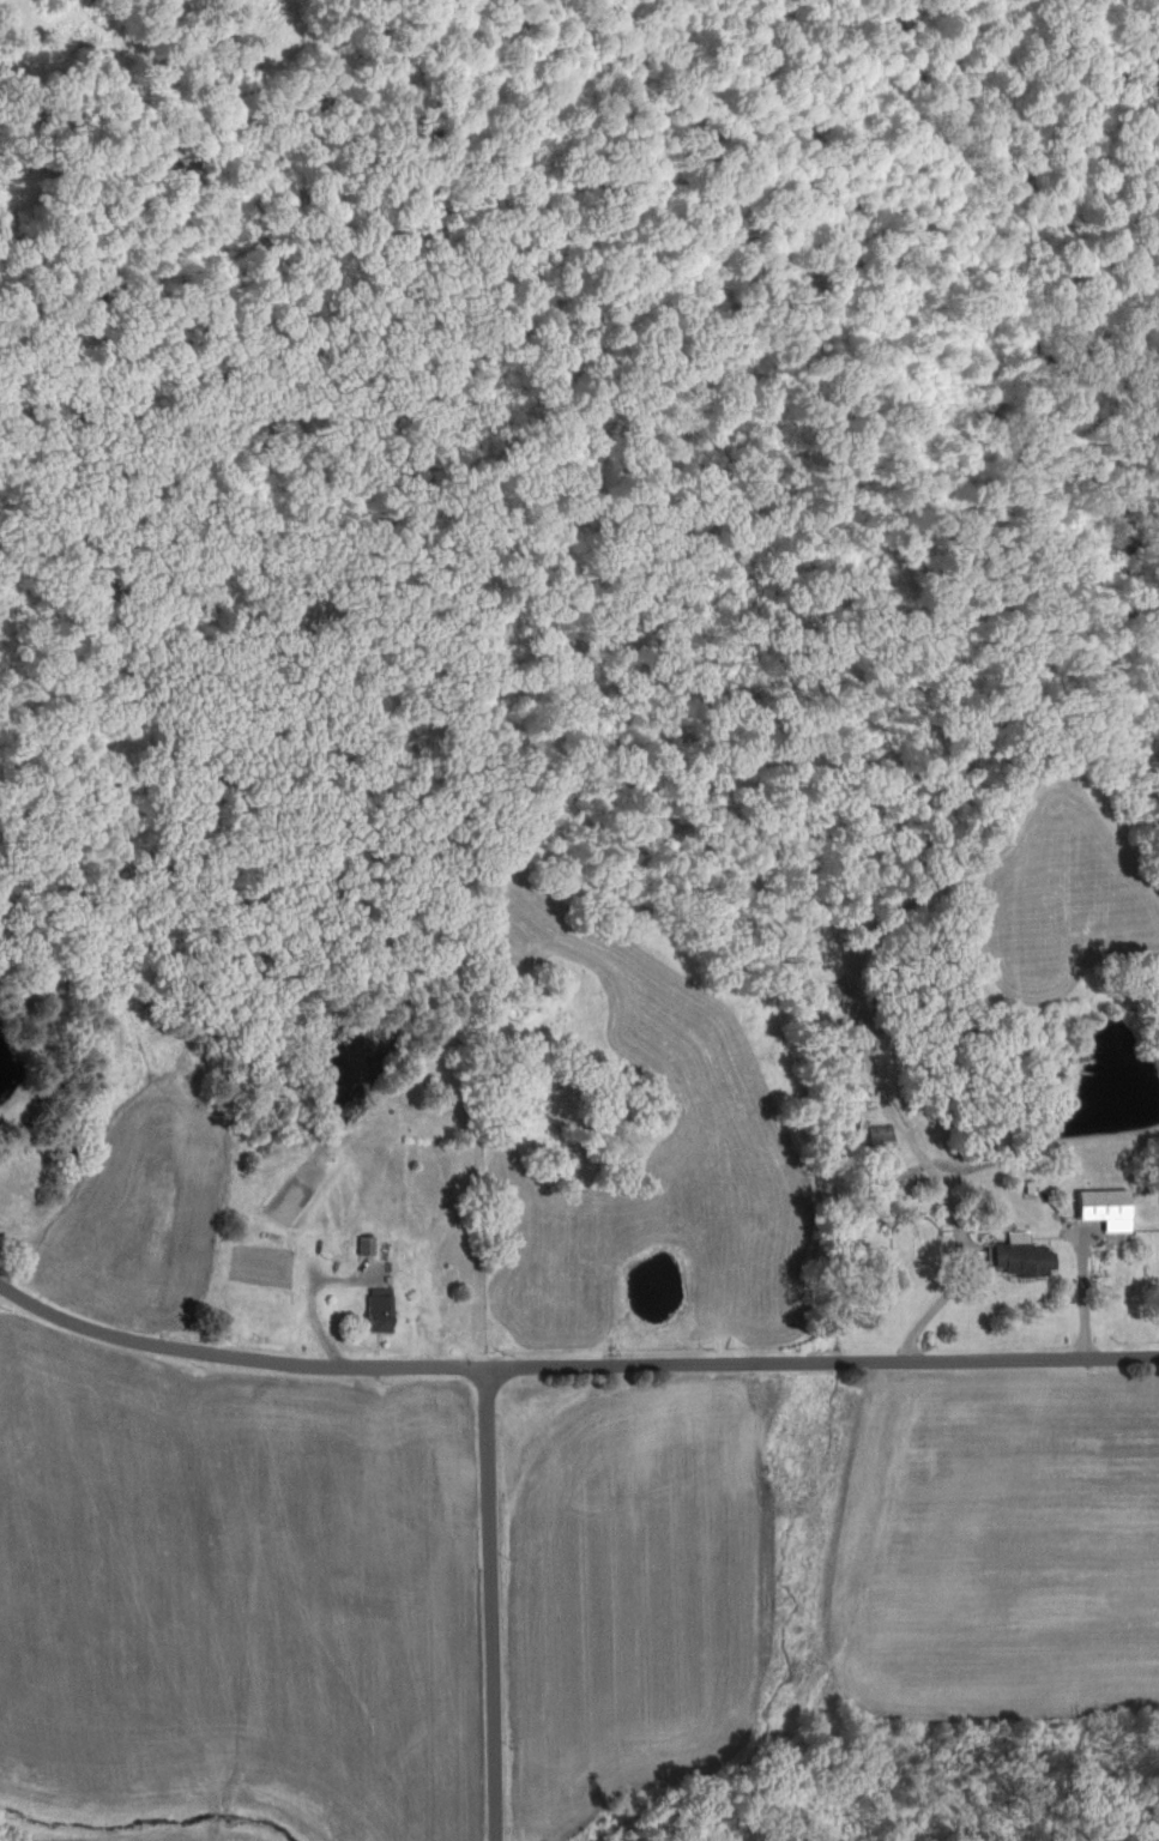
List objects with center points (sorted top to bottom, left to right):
building: (845, 1042)
building: (879, 1135)
building: (1103, 1208)
building: (1021, 1256)
road: (937, 1290)
road: (316, 1291)
building: (376, 1308)
road: (241, 1348)
road: (826, 1358)
road: (494, 1599)

